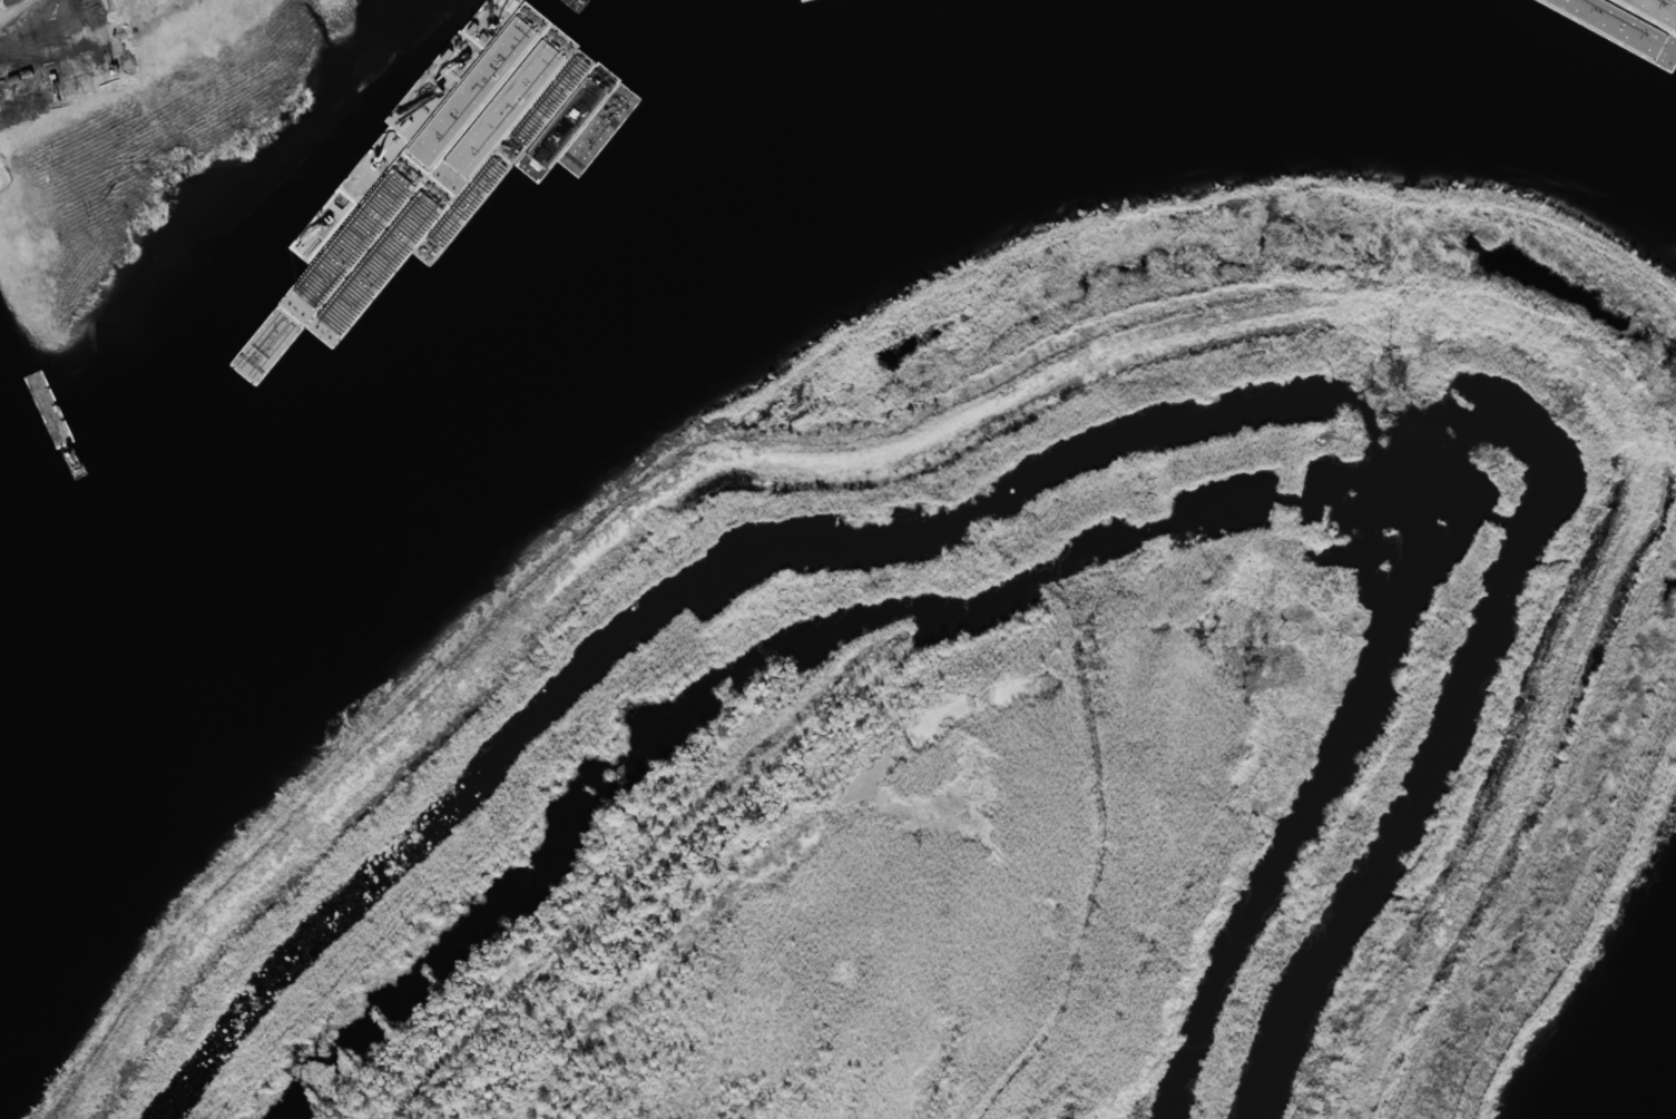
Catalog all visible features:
road: (17, 10)

